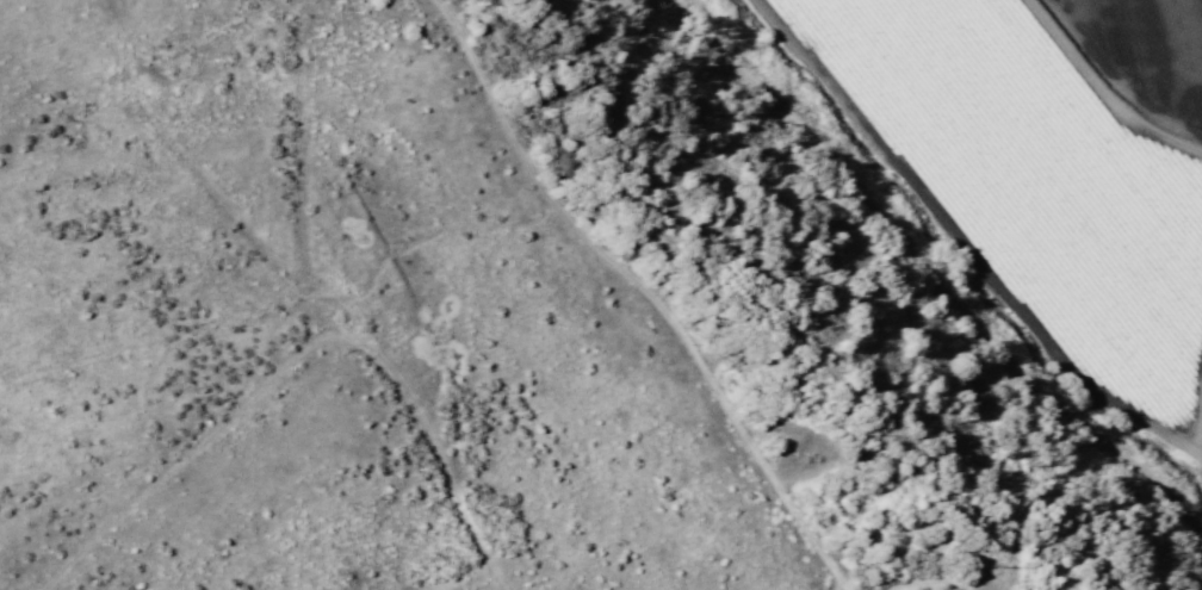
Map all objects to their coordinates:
crop: (1046, 167)

